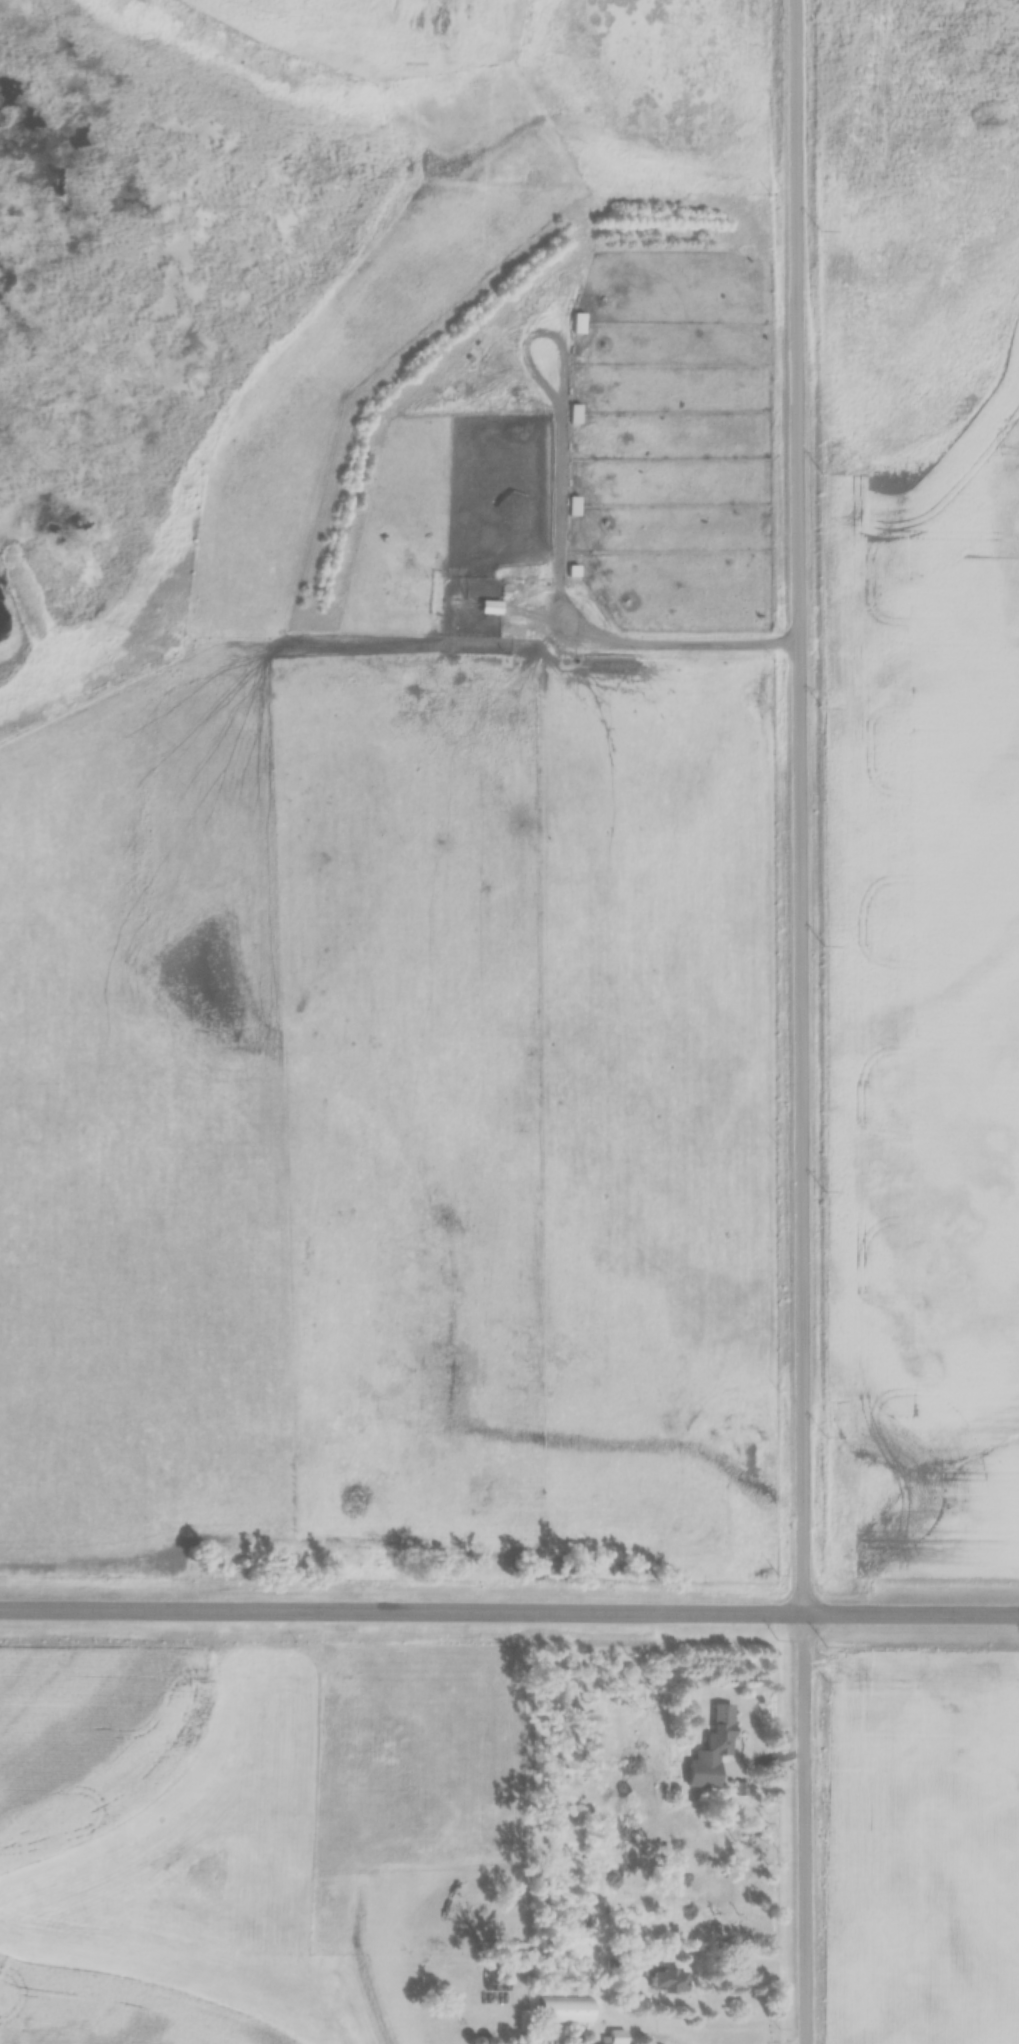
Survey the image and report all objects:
building: (575, 415)
building: (574, 507)
building: (491, 608)
road: (803, 808)
road: (403, 1615)
road: (913, 1617)
building: (713, 1750)
road: (807, 1830)
building: (669, 1982)
building: (567, 2012)
building: (615, 2037)

